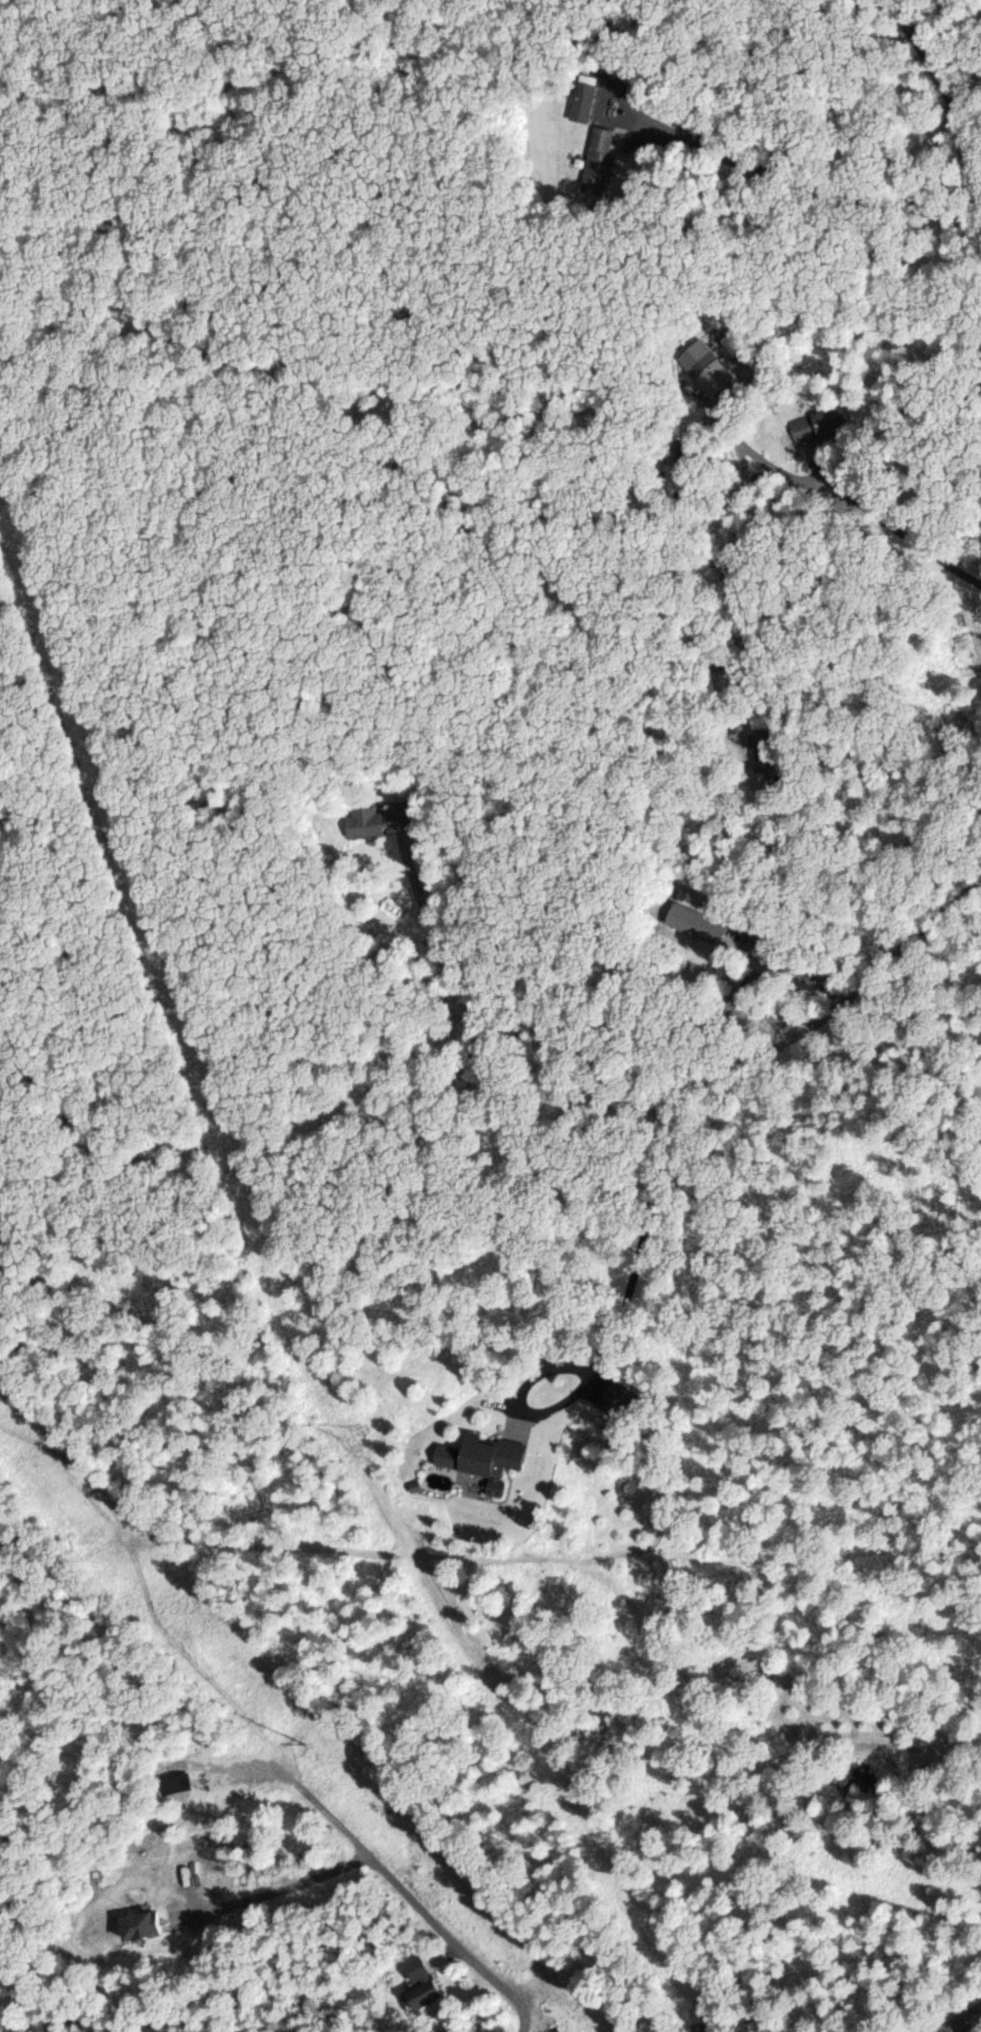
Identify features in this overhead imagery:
building: (580, 103)
building: (597, 163)
road: (950, 229)
building: (715, 374)
building: (817, 422)
building: (771, 752)
building: (395, 810)
building: (362, 820)
building: (692, 922)
road: (757, 1245)
building: (613, 1400)
building: (480, 1458)
power tower: (300, 1734)
building: (178, 1782)
building: (138, 1926)
building: (416, 1985)
road: (967, 2024)

